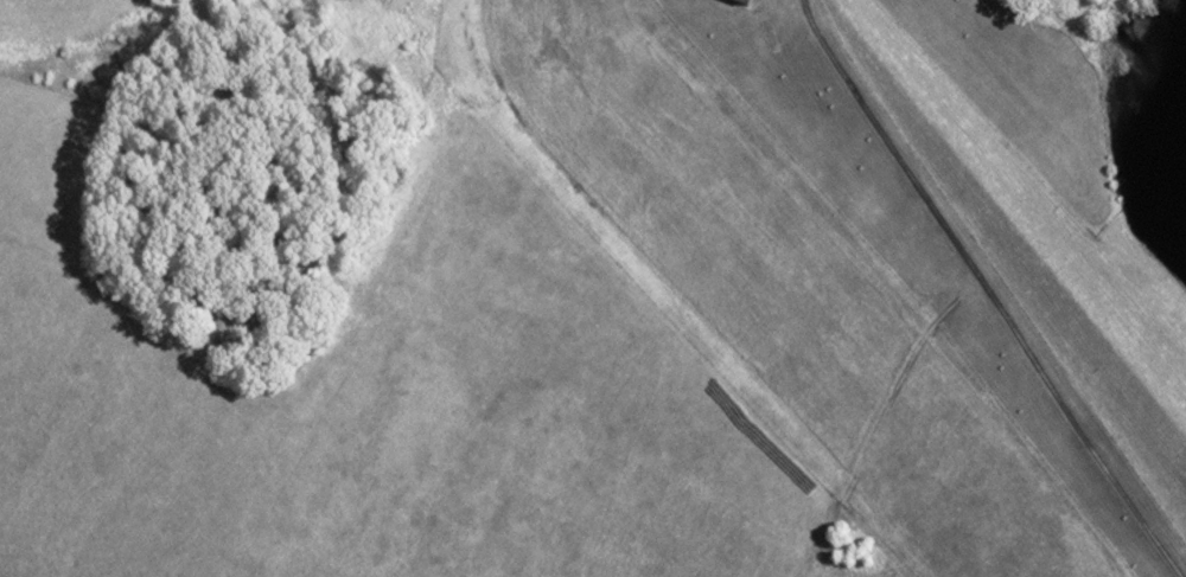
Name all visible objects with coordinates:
building: (739, 2)
dam: (1019, 216)
road: (987, 291)

